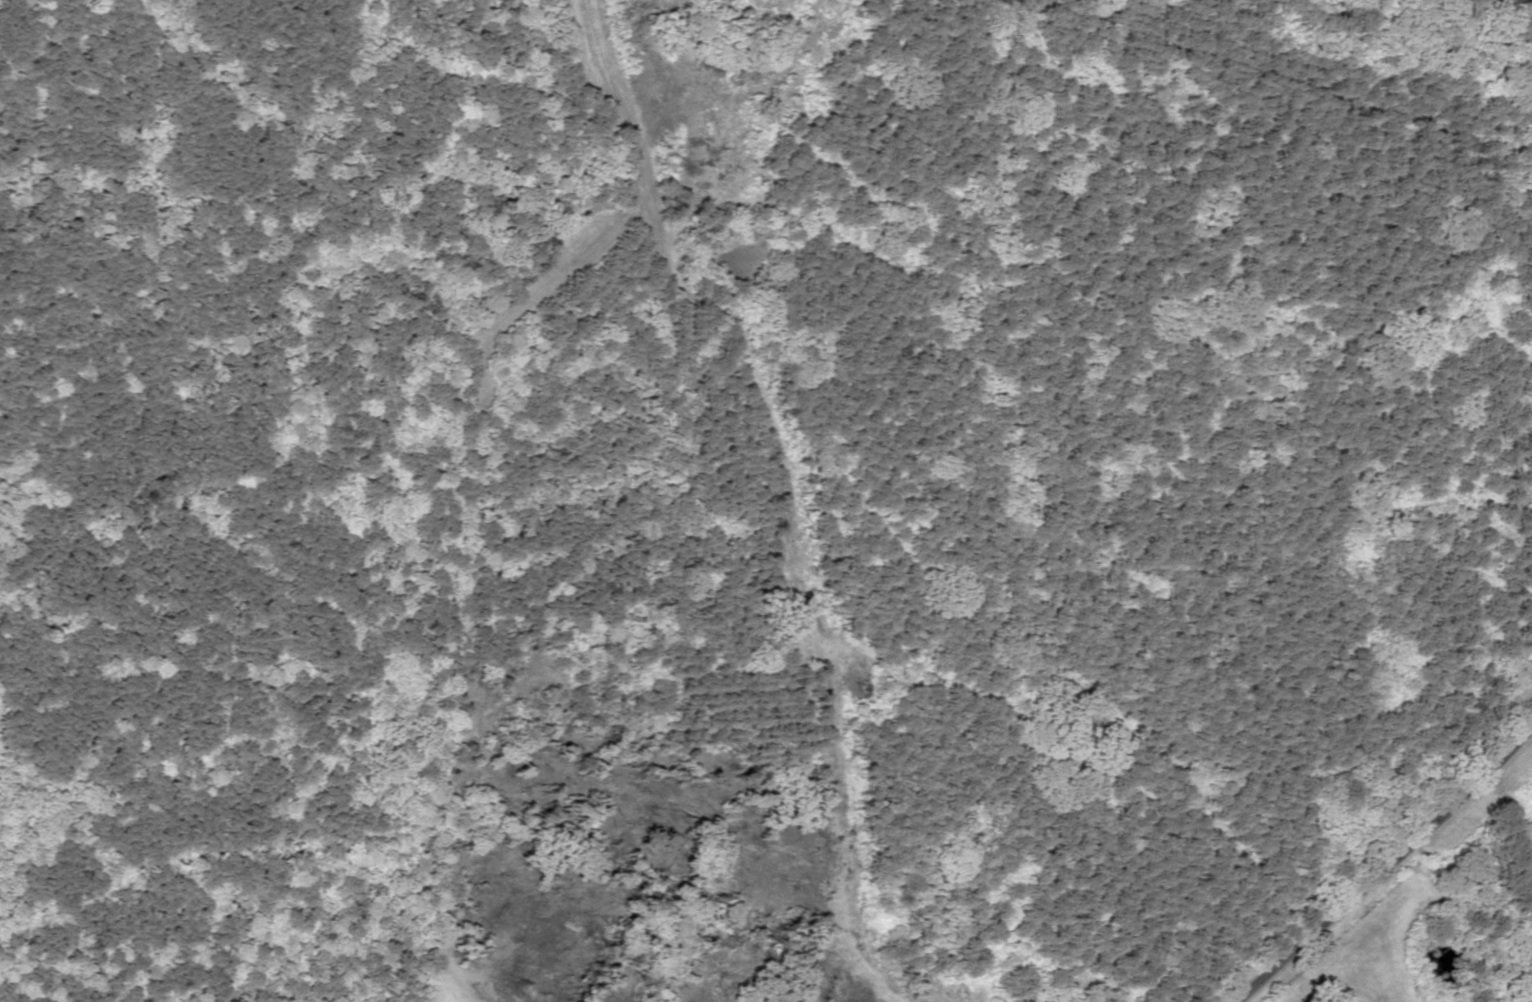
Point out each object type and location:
road: (1379, 856)

